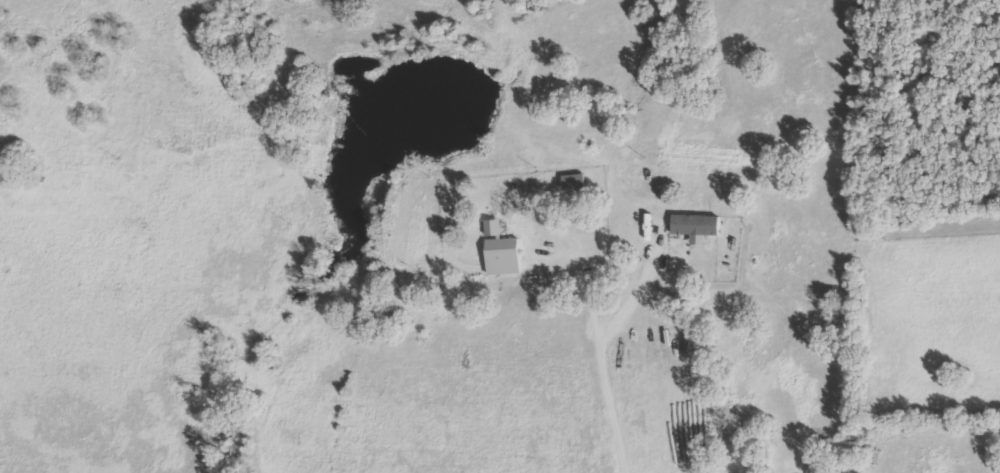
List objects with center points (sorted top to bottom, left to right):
building: (577, 183)
building: (700, 228)
building: (506, 252)

